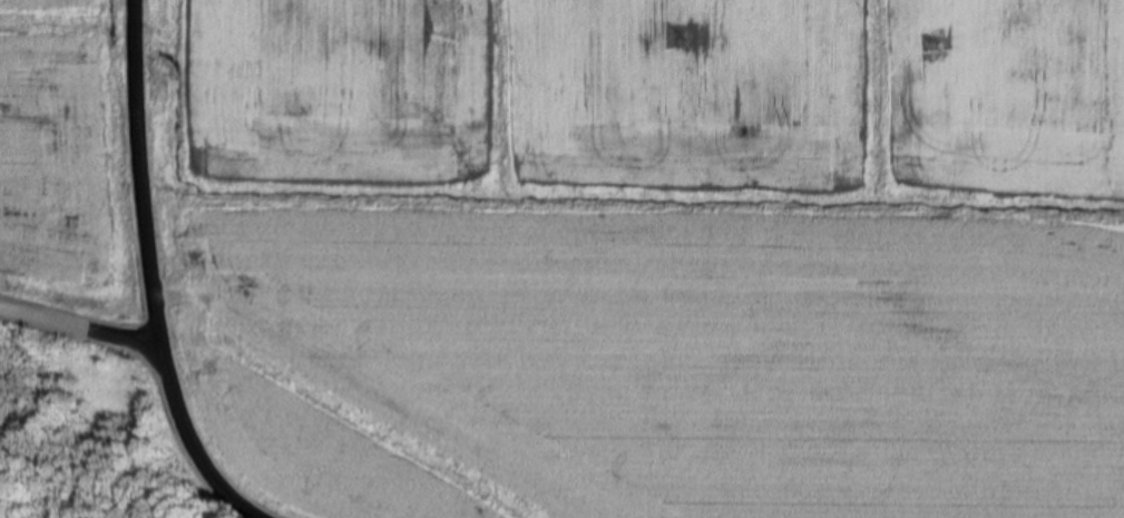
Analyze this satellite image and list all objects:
road: (143, 172)
road: (80, 323)
road: (196, 442)

